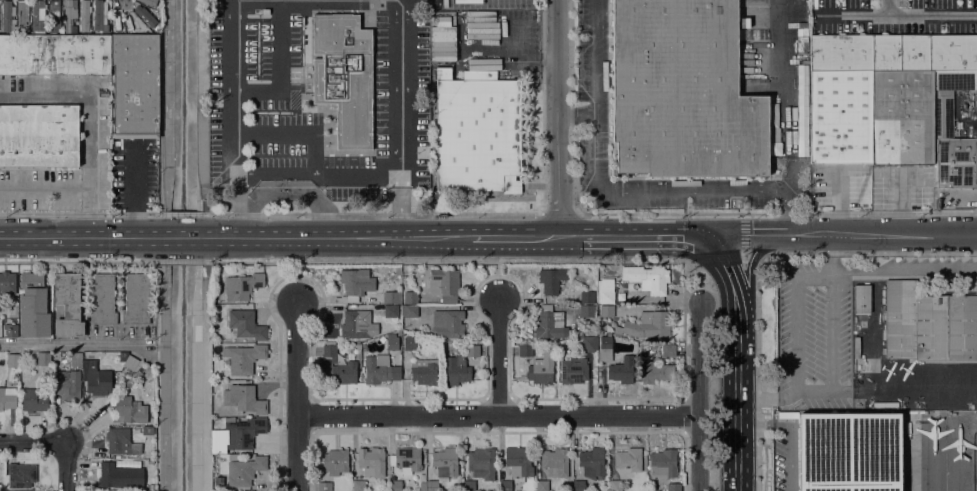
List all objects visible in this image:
road: (401, 1)
building: (147, 2)
building: (445, 3)
building: (436, 4)
road: (887, 8)
building: (69, 14)
building: (22, 15)
building: (38, 15)
building: (54, 16)
road: (895, 16)
building: (7, 17)
building: (85, 17)
building: (99, 18)
building: (148, 20)
road: (401, 34)
building: (442, 34)
building: (893, 51)
building: (54, 55)
road: (280, 72)
building: (343, 76)
building: (134, 86)
building: (682, 92)
road: (200, 103)
road: (570, 106)
road: (576, 117)
road: (789, 117)
building: (944, 117)
road: (556, 118)
building: (840, 118)
building: (901, 118)
road: (231, 119)
road: (90, 124)
building: (477, 133)
road: (292, 135)
building: (39, 136)
road: (273, 174)
road: (357, 179)
road: (46, 188)
road: (597, 190)
road: (204, 210)
road: (373, 213)
road: (560, 213)
road: (677, 213)
road: (787, 213)
road: (886, 213)
road: (79, 214)
road: (182, 214)
road: (205, 226)
road: (632, 235)
road: (829, 235)
road: (515, 236)
road: (570, 236)
road: (339, 237)
road: (79, 238)
road: (182, 238)
road: (205, 255)
road: (738, 255)
road: (82, 261)
road: (472, 261)
road: (181, 262)
road: (757, 265)
road: (725, 272)
road: (498, 277)
road: (296, 278)
building: (646, 278)
building: (551, 280)
building: (7, 283)
building: (444, 284)
building: (354, 285)
building: (242, 286)
building: (605, 291)
road: (749, 295)
building: (391, 297)
building: (410, 297)
building: (587, 297)
building: (101, 298)
building: (138, 298)
building: (862, 299)
building: (548, 300)
building: (0, 306)
building: (33, 306)
building: (67, 306)
building: (390, 311)
building: (587, 311)
building: (606, 311)
building: (409, 313)
building: (548, 323)
building: (246, 324)
building: (447, 324)
building: (599, 324)
building: (928, 324)
building: (355, 325)
building: (647, 325)
building: (11, 331)
building: (588, 341)
road: (72, 343)
building: (391, 343)
building: (409, 344)
building: (605, 348)
building: (856, 348)
building: (524, 349)
road: (737, 349)
building: (668, 350)
building: (472, 351)
building: (358, 352)
road: (498, 354)
building: (43, 359)
building: (76, 359)
building: (244, 359)
building: (13, 360)
building: (128, 361)
building: (335, 368)
building: (379, 369)
building: (456, 370)
building: (622, 370)
building: (540, 371)
building: (573, 371)
building: (424, 372)
building: (655, 372)
airport: (876, 374)
building: (133, 378)
building: (96, 379)
road: (205, 382)
building: (67, 386)
road: (296, 393)
road: (698, 397)
building: (7, 398)
building: (243, 399)
building: (33, 401)
building: (128, 411)
road: (496, 414)
road: (737, 429)
building: (147, 431)
building: (236, 434)
road: (29, 440)
road: (62, 441)
building: (118, 441)
airport hangar: (848, 452)
building: (848, 452)
airport taxiway: (945, 452)
building: (628, 459)
building: (406, 460)
building: (335, 462)
building: (371, 462)
building: (554, 462)
building: (481, 463)
building: (518, 463)
building: (592, 463)
building: (663, 464)
road: (66, 467)
building: (442, 467)
building: (244, 471)
building: (22, 476)
building: (120, 476)
building: (394, 485)
building: (468, 485)
building: (324, 486)
building: (358, 486)
building: (505, 486)
building: (542, 486)
building: (578, 486)
building: (615, 486)
building: (422, 487)
building: (673, 487)

